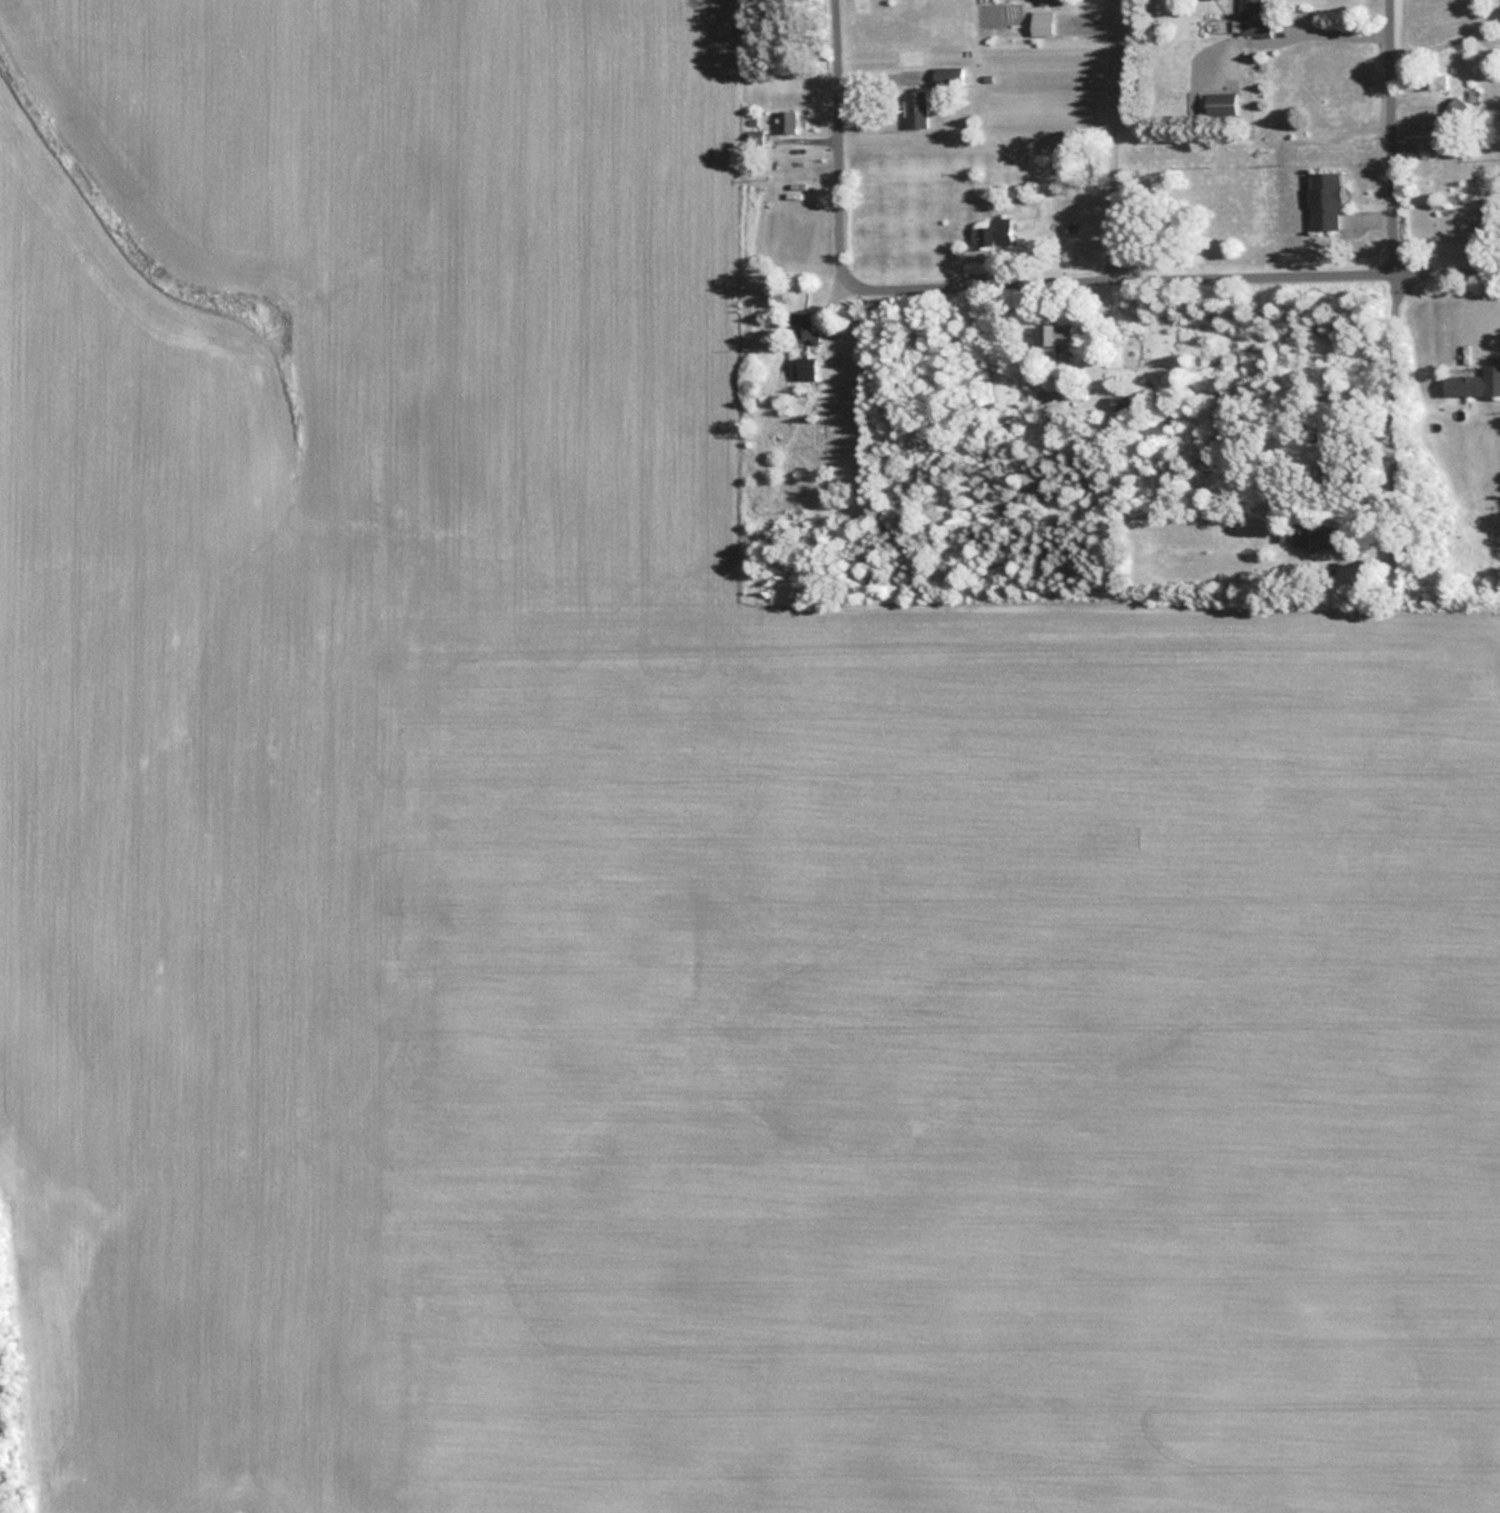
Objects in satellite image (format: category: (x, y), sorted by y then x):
building: (1252, 18)
building: (1039, 26)
road: (1338, 31)
building: (1434, 80)
building: (1218, 103)
building: (914, 108)
building: (785, 120)
road: (839, 141)
road: (1113, 143)
building: (1323, 200)
building: (997, 232)
road: (1398, 265)
road: (1172, 284)
building: (802, 327)
building: (1057, 336)
building: (801, 368)
building: (1473, 381)
building: (1300, 535)
building: (1320, 535)

